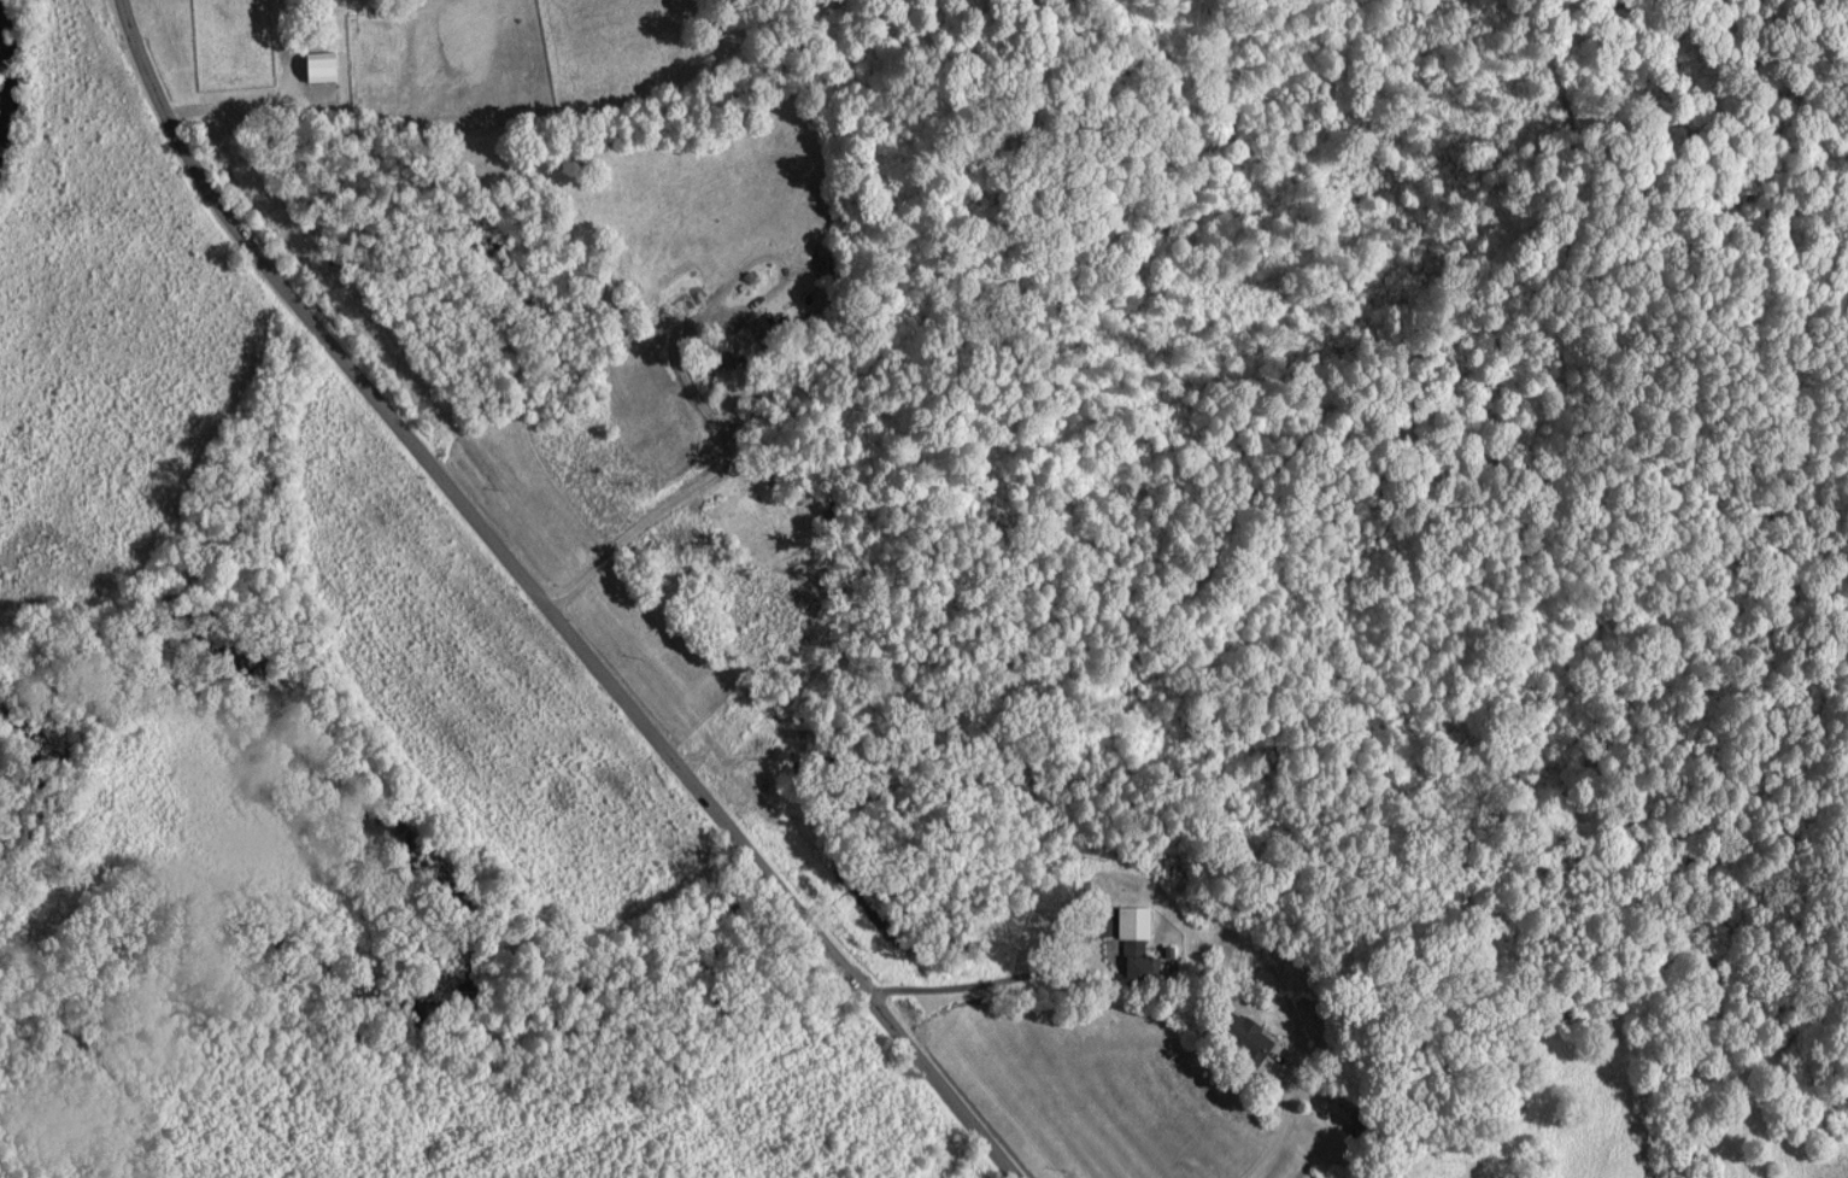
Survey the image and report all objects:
building: (323, 65)
road: (548, 604)
building: (1137, 942)
road: (982, 983)
building: (1248, 1036)

